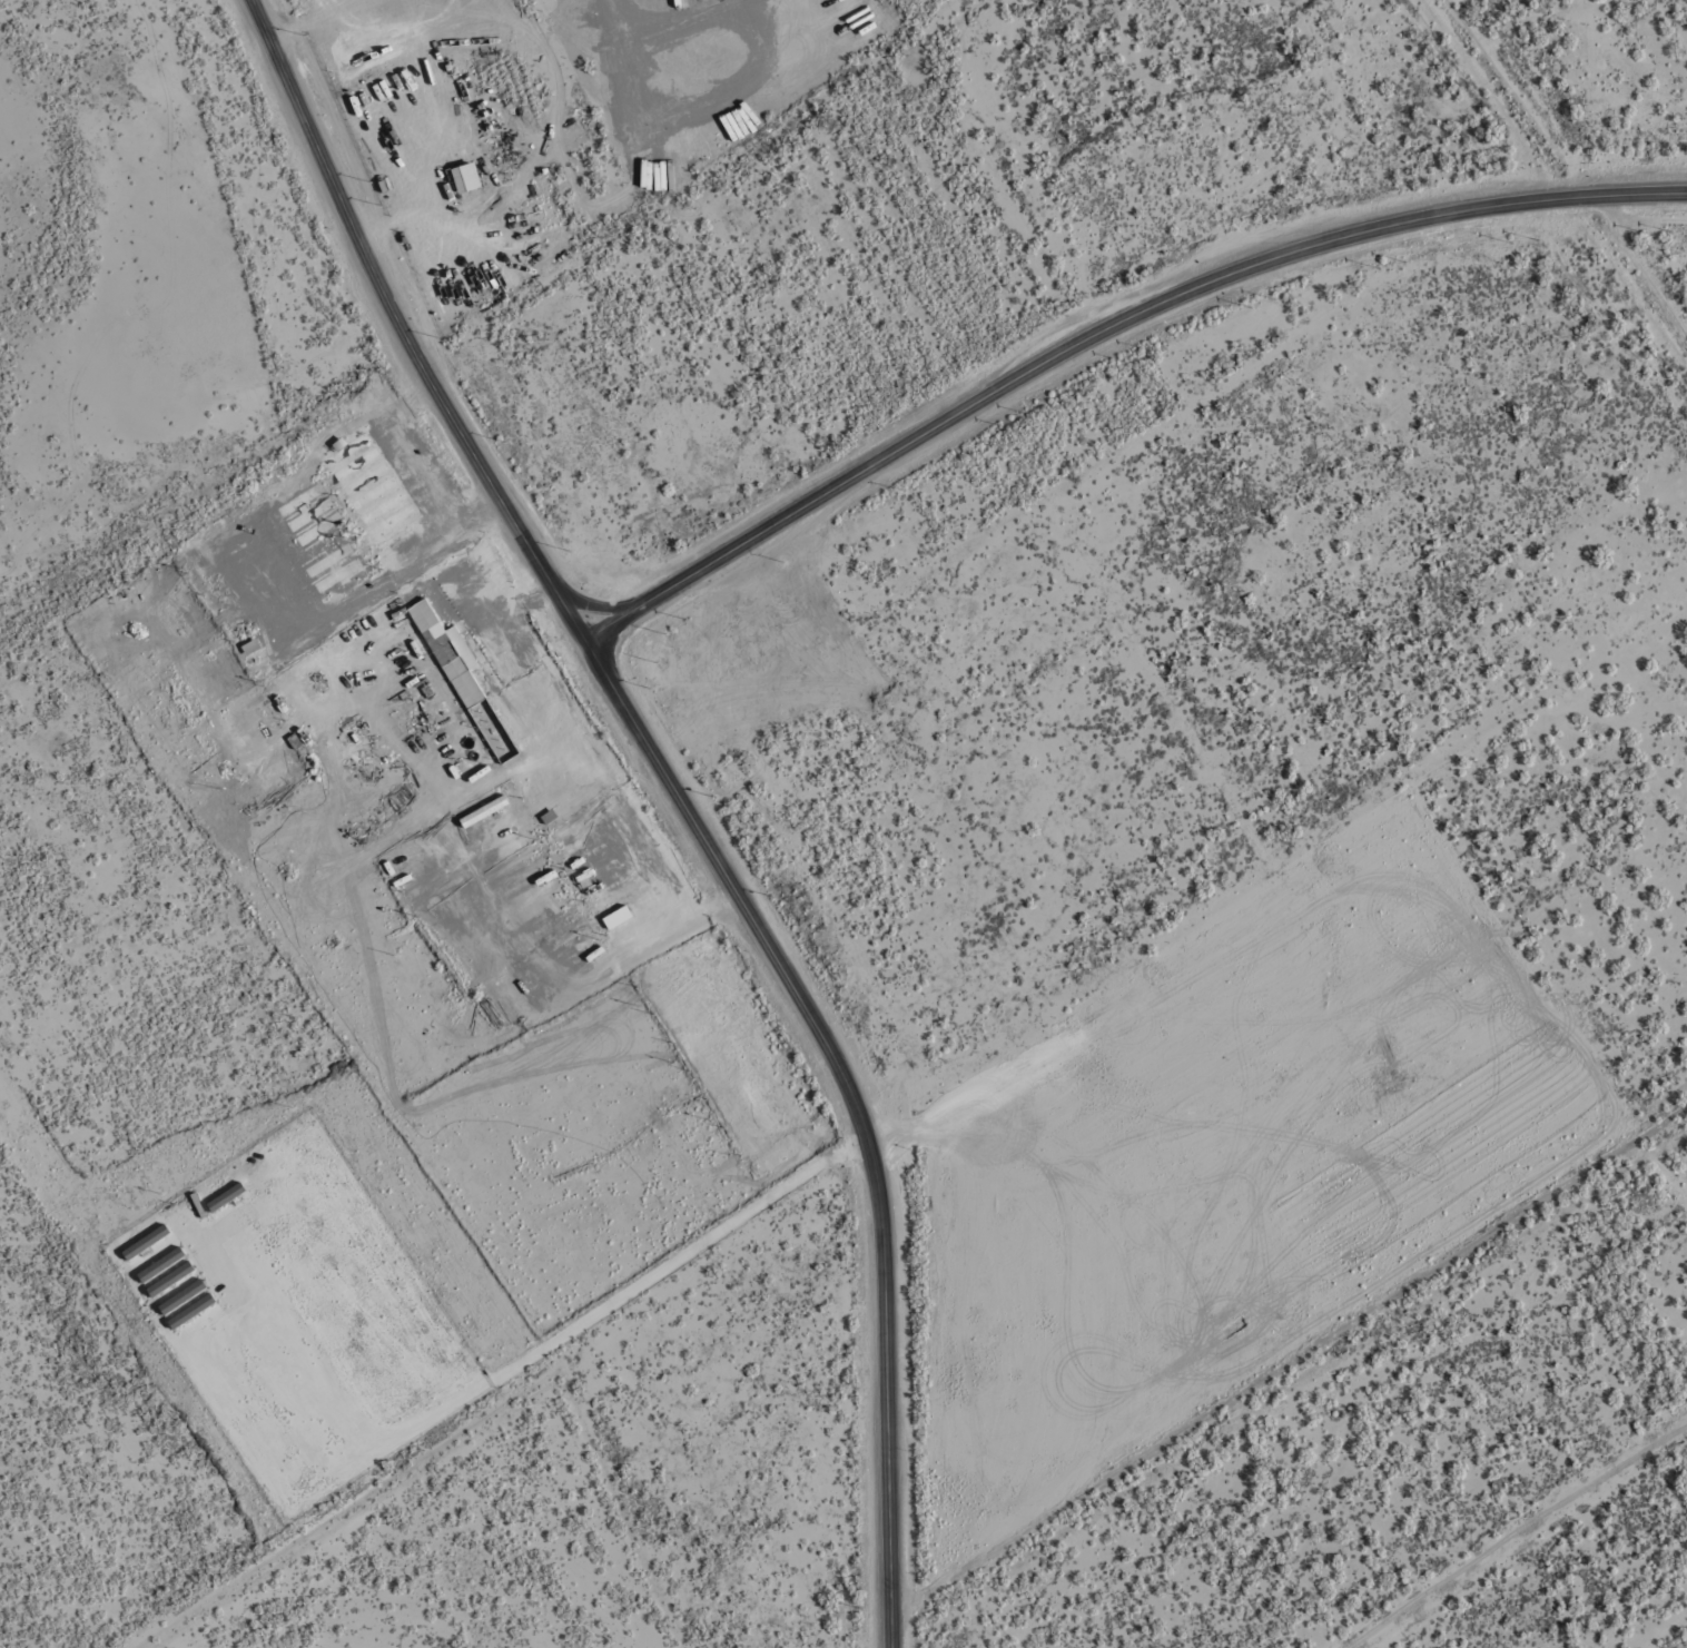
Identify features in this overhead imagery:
building: (463, 178)
road: (401, 328)
road: (1103, 330)
building: (358, 471)
building: (381, 509)
building: (308, 514)
building: (389, 522)
road: (595, 605)
building: (447, 654)
road: (856, 1108)
road: (661, 1270)

